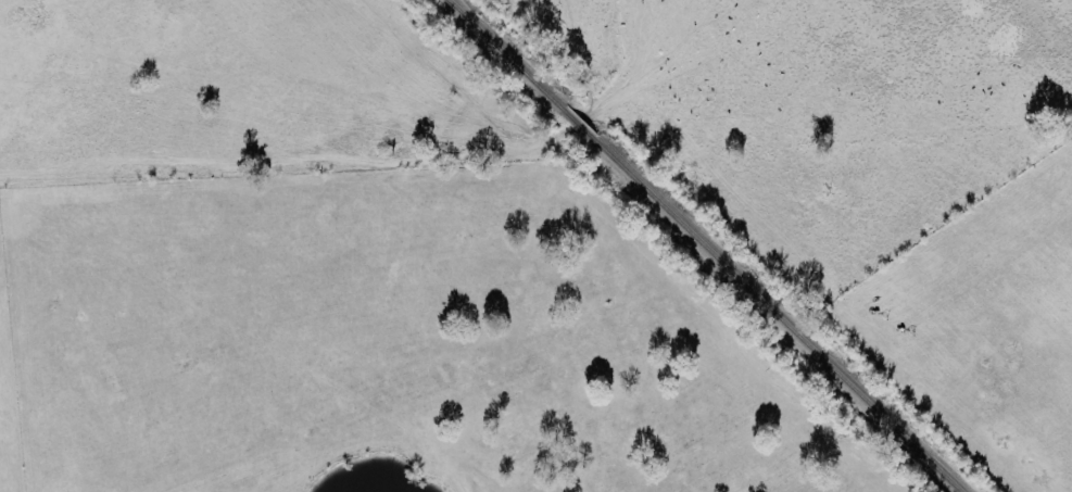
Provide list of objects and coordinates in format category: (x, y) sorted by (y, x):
railway: (503, 53)
railway: (577, 124)
railway: (777, 317)

